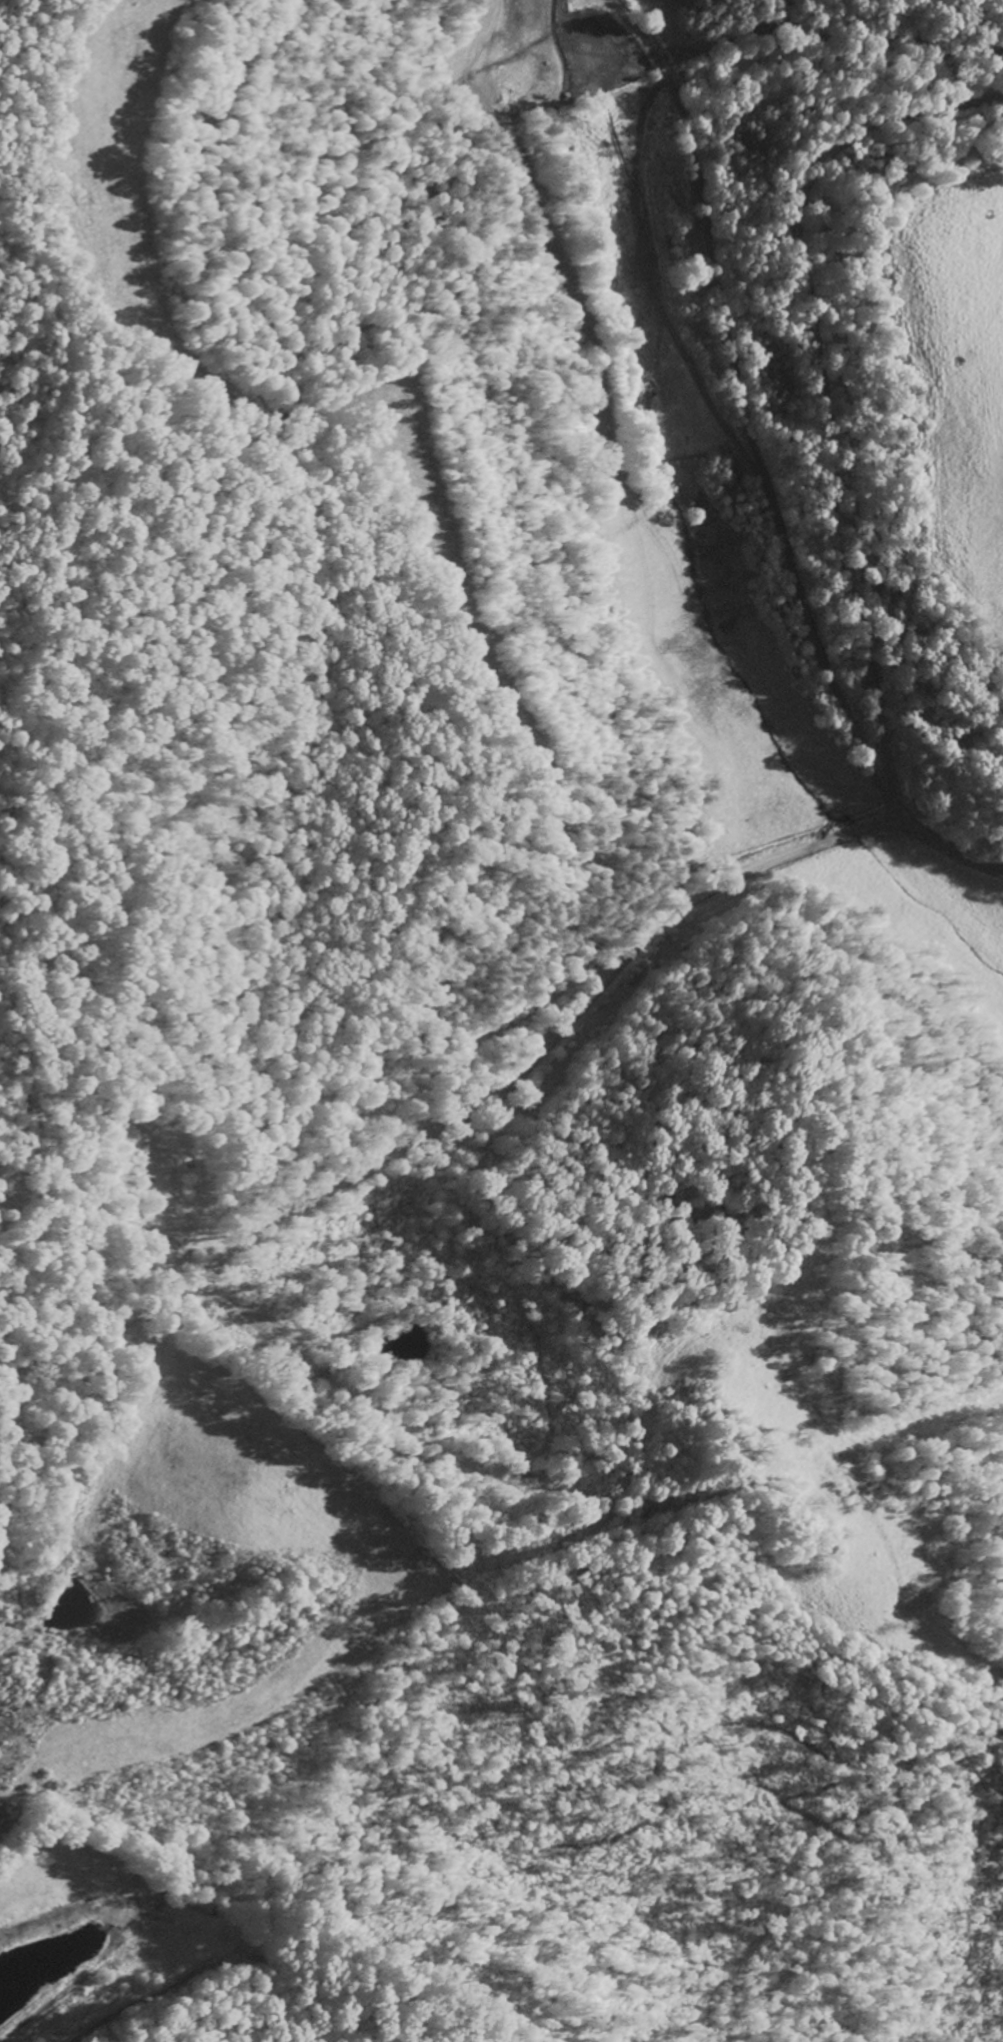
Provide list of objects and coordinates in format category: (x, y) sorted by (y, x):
road: (824, 386)
road: (760, 463)
road: (466, 1114)

